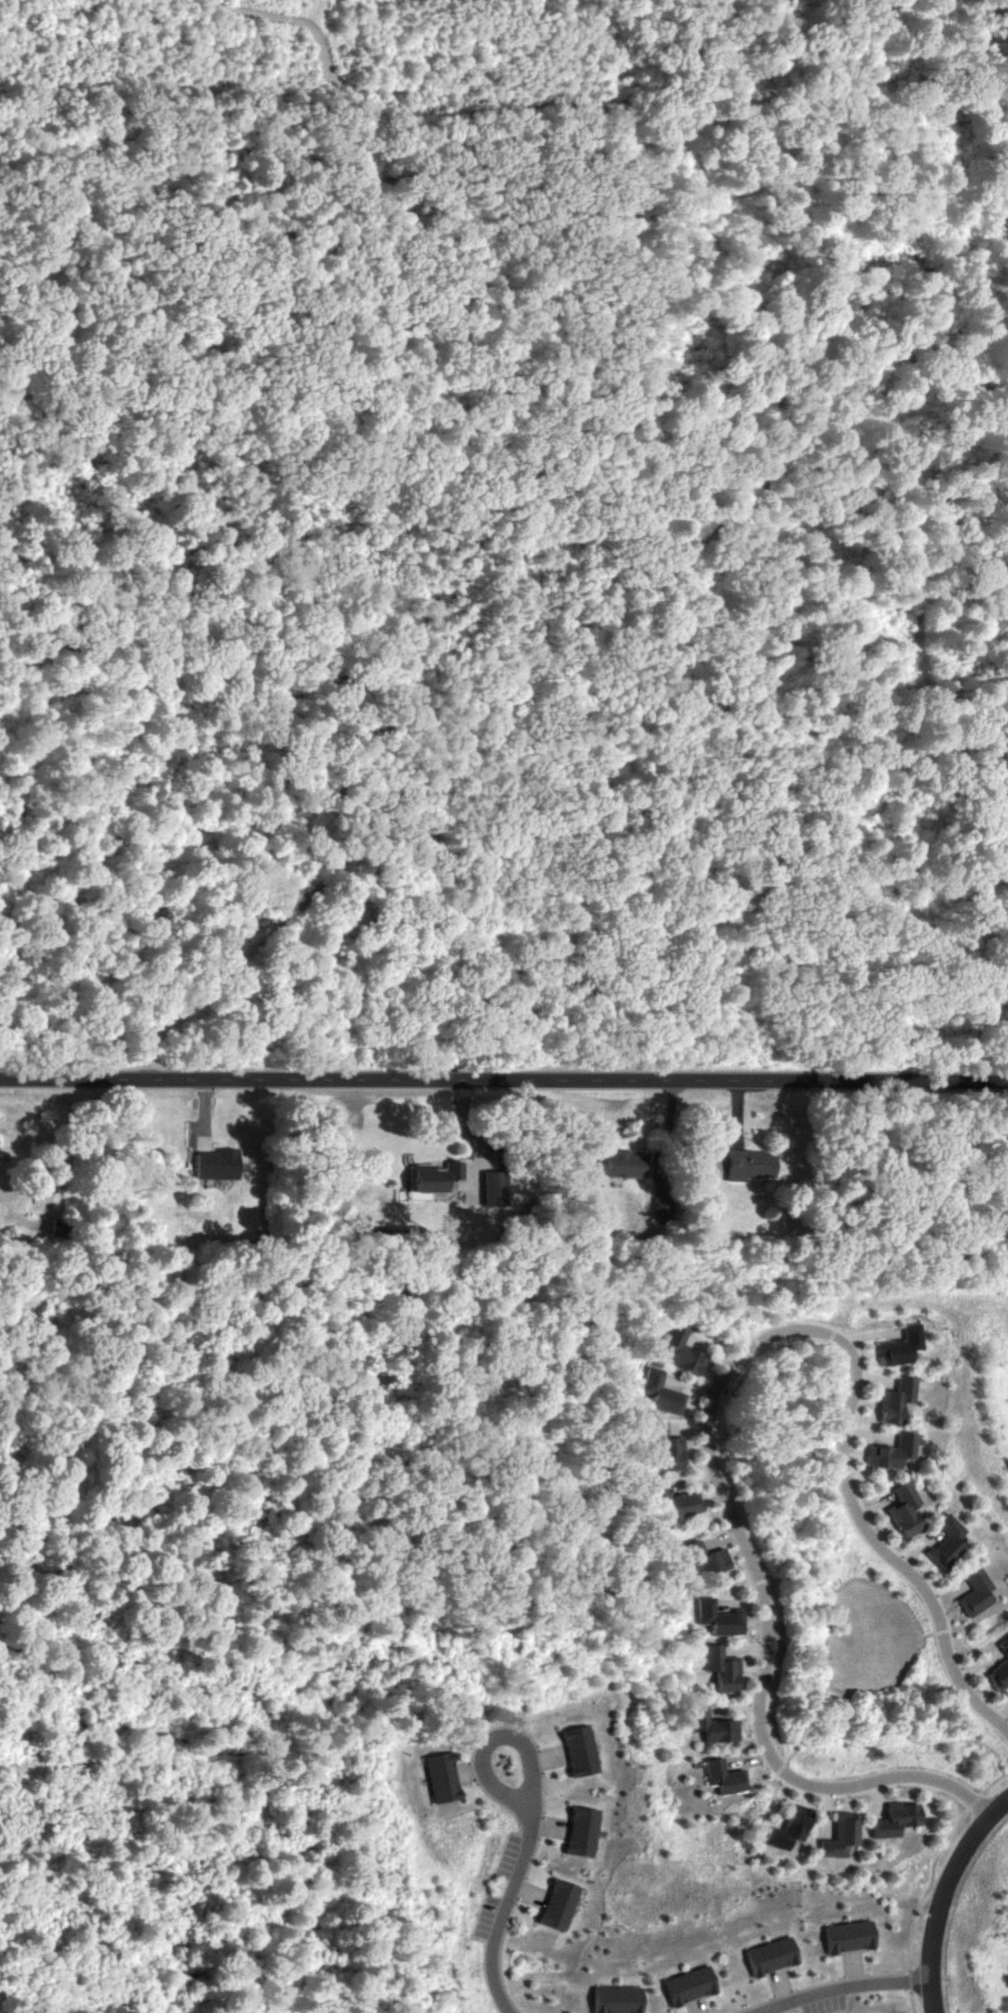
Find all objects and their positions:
road: (563, 95)
road: (954, 369)
park: (504, 540)
road: (940, 669)
road: (434, 757)
road: (598, 977)
road: (504, 1080)
road: (670, 1131)
road: (473, 1135)
building: (212, 1165)
building: (618, 1165)
building: (749, 1165)
building: (432, 1177)
building: (492, 1189)
building: (901, 1348)
building: (684, 1351)
building: (658, 1393)
building: (895, 1400)
road: (714, 1401)
building: (666, 1449)
building: (889, 1452)
building: (673, 1502)
building: (901, 1510)
building: (944, 1542)
building: (708, 1562)
building: (973, 1593)
building: (716, 1619)
building: (999, 1668)
building: (719, 1669)
building: (708, 1725)
building: (721, 1777)
building: (894, 1820)
building: (787, 1829)
building: (839, 1835)
road: (515, 1896)
road: (947, 1899)
road: (848, 1991)

